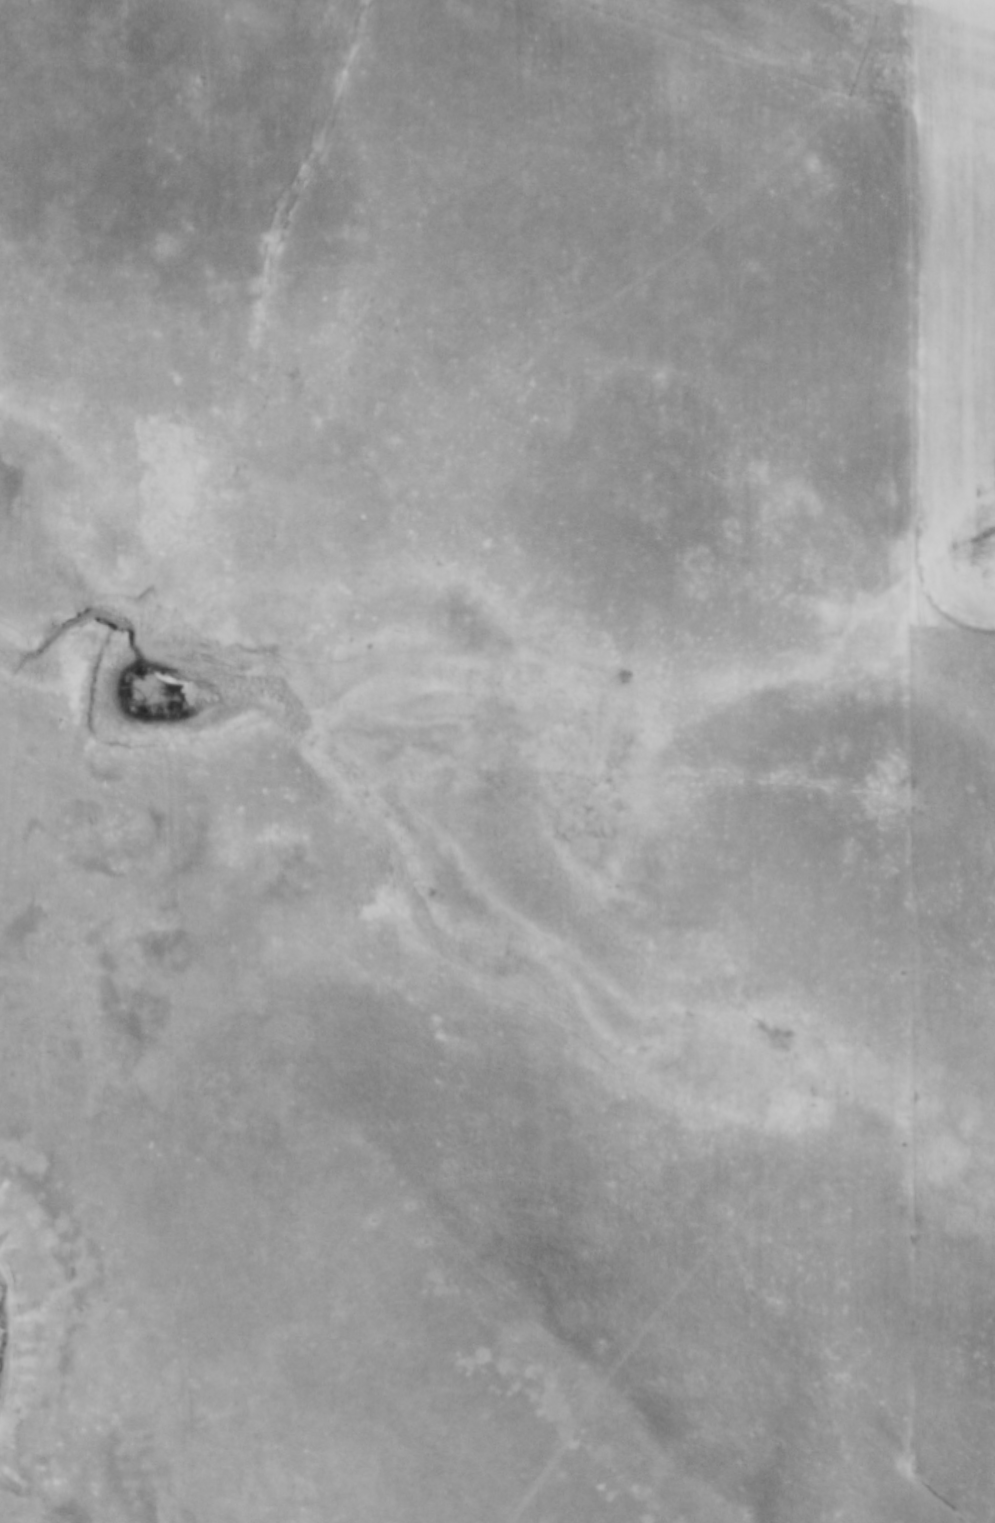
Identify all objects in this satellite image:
road: (919, 307)

